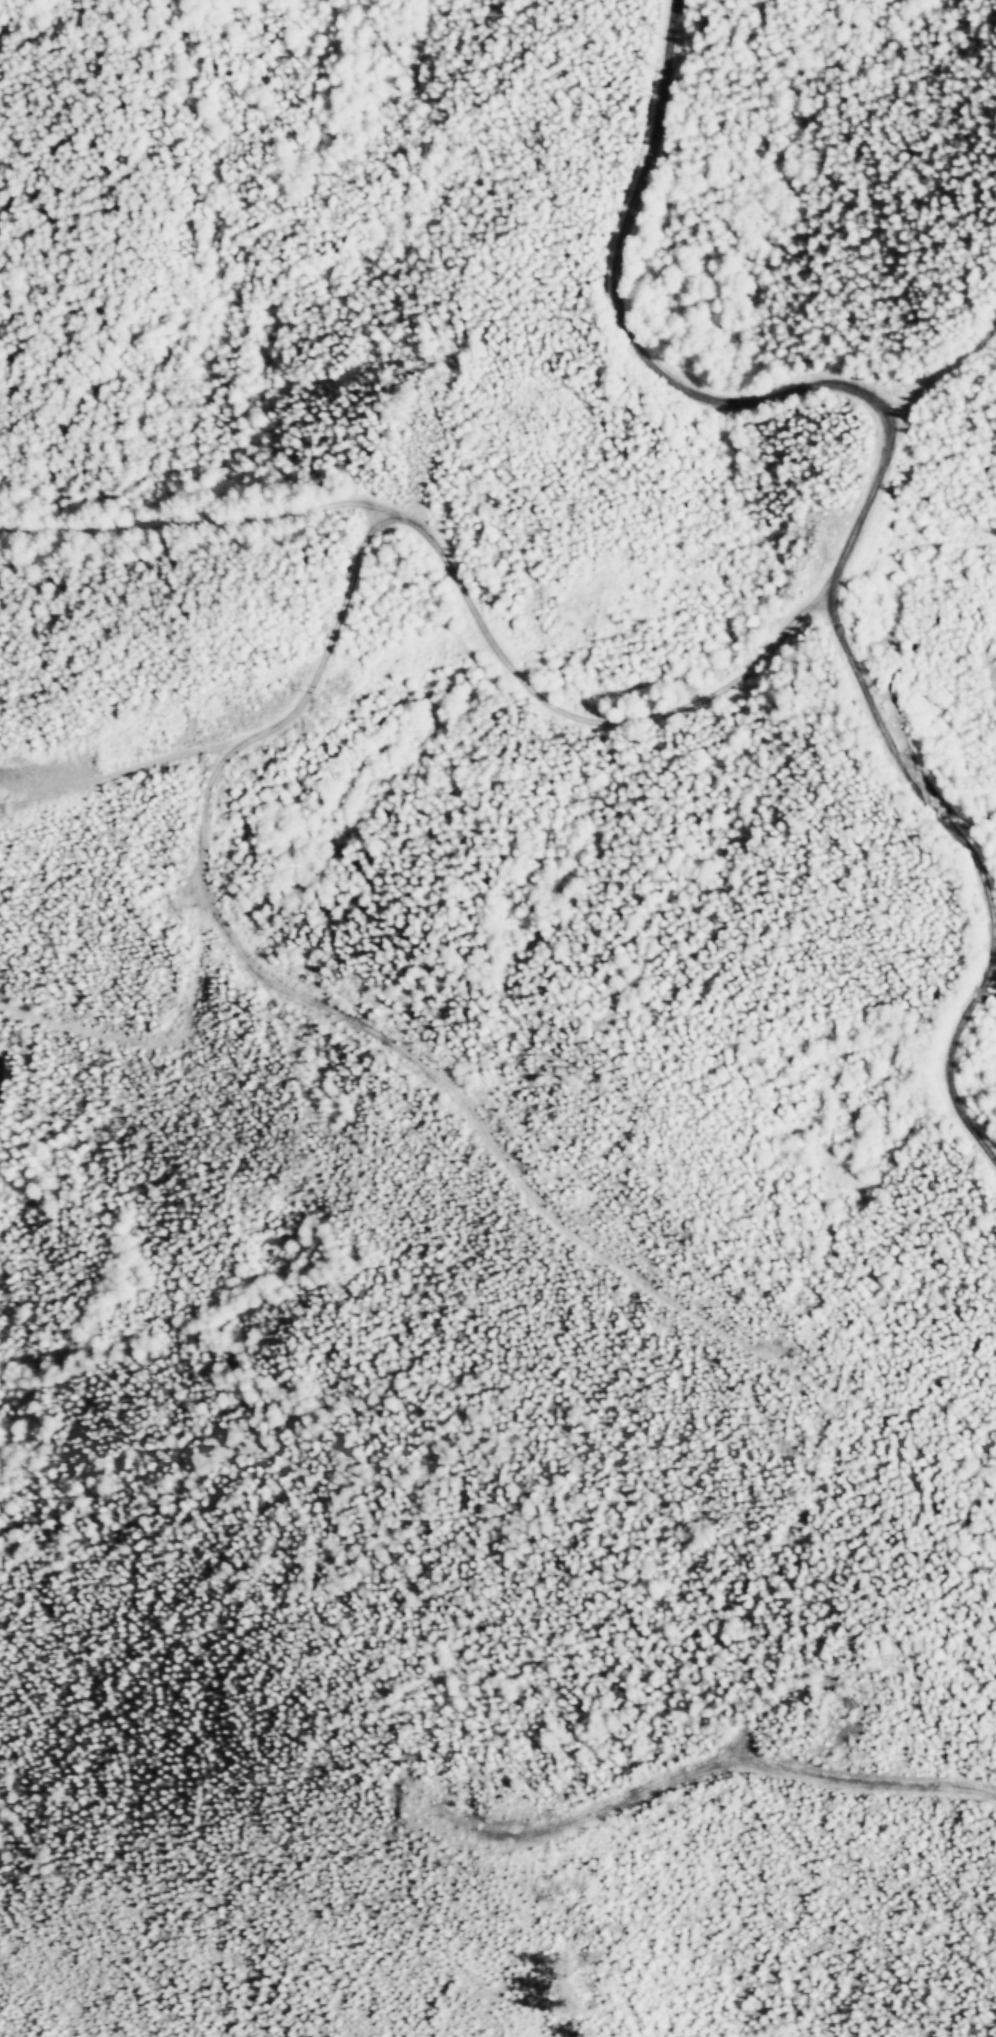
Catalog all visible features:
road: (624, 308)
road: (525, 729)
road: (949, 943)

